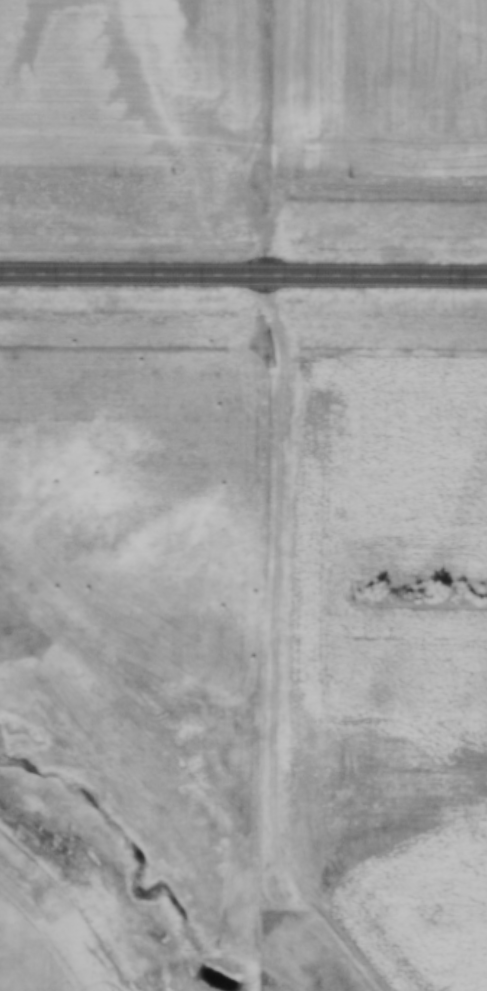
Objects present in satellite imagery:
road: (243, 274)
building: (477, 275)
road: (290, 505)

